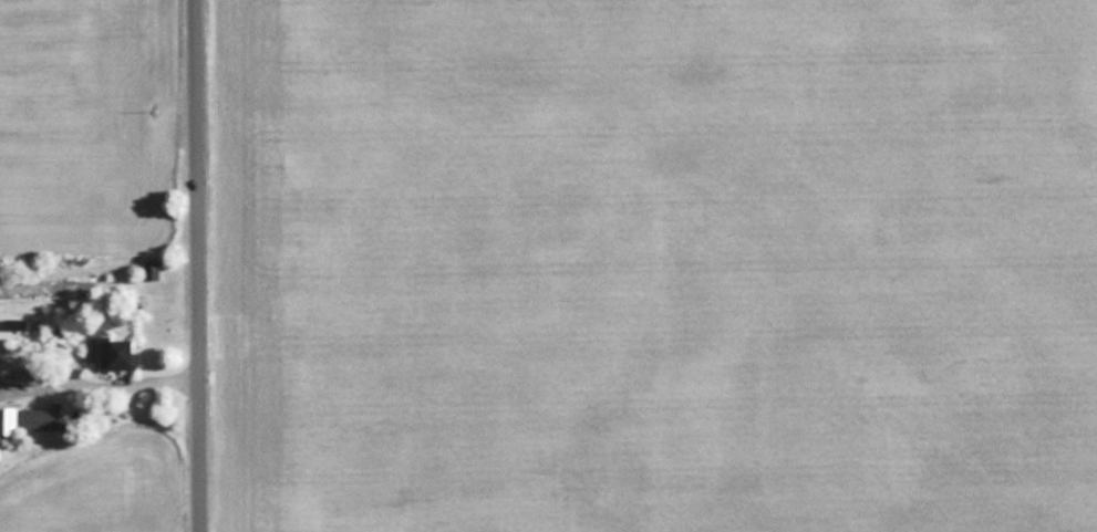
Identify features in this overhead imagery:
road: (199, 265)
building: (151, 267)
building: (111, 353)
road: (100, 369)
building: (42, 418)
building: (8, 420)

